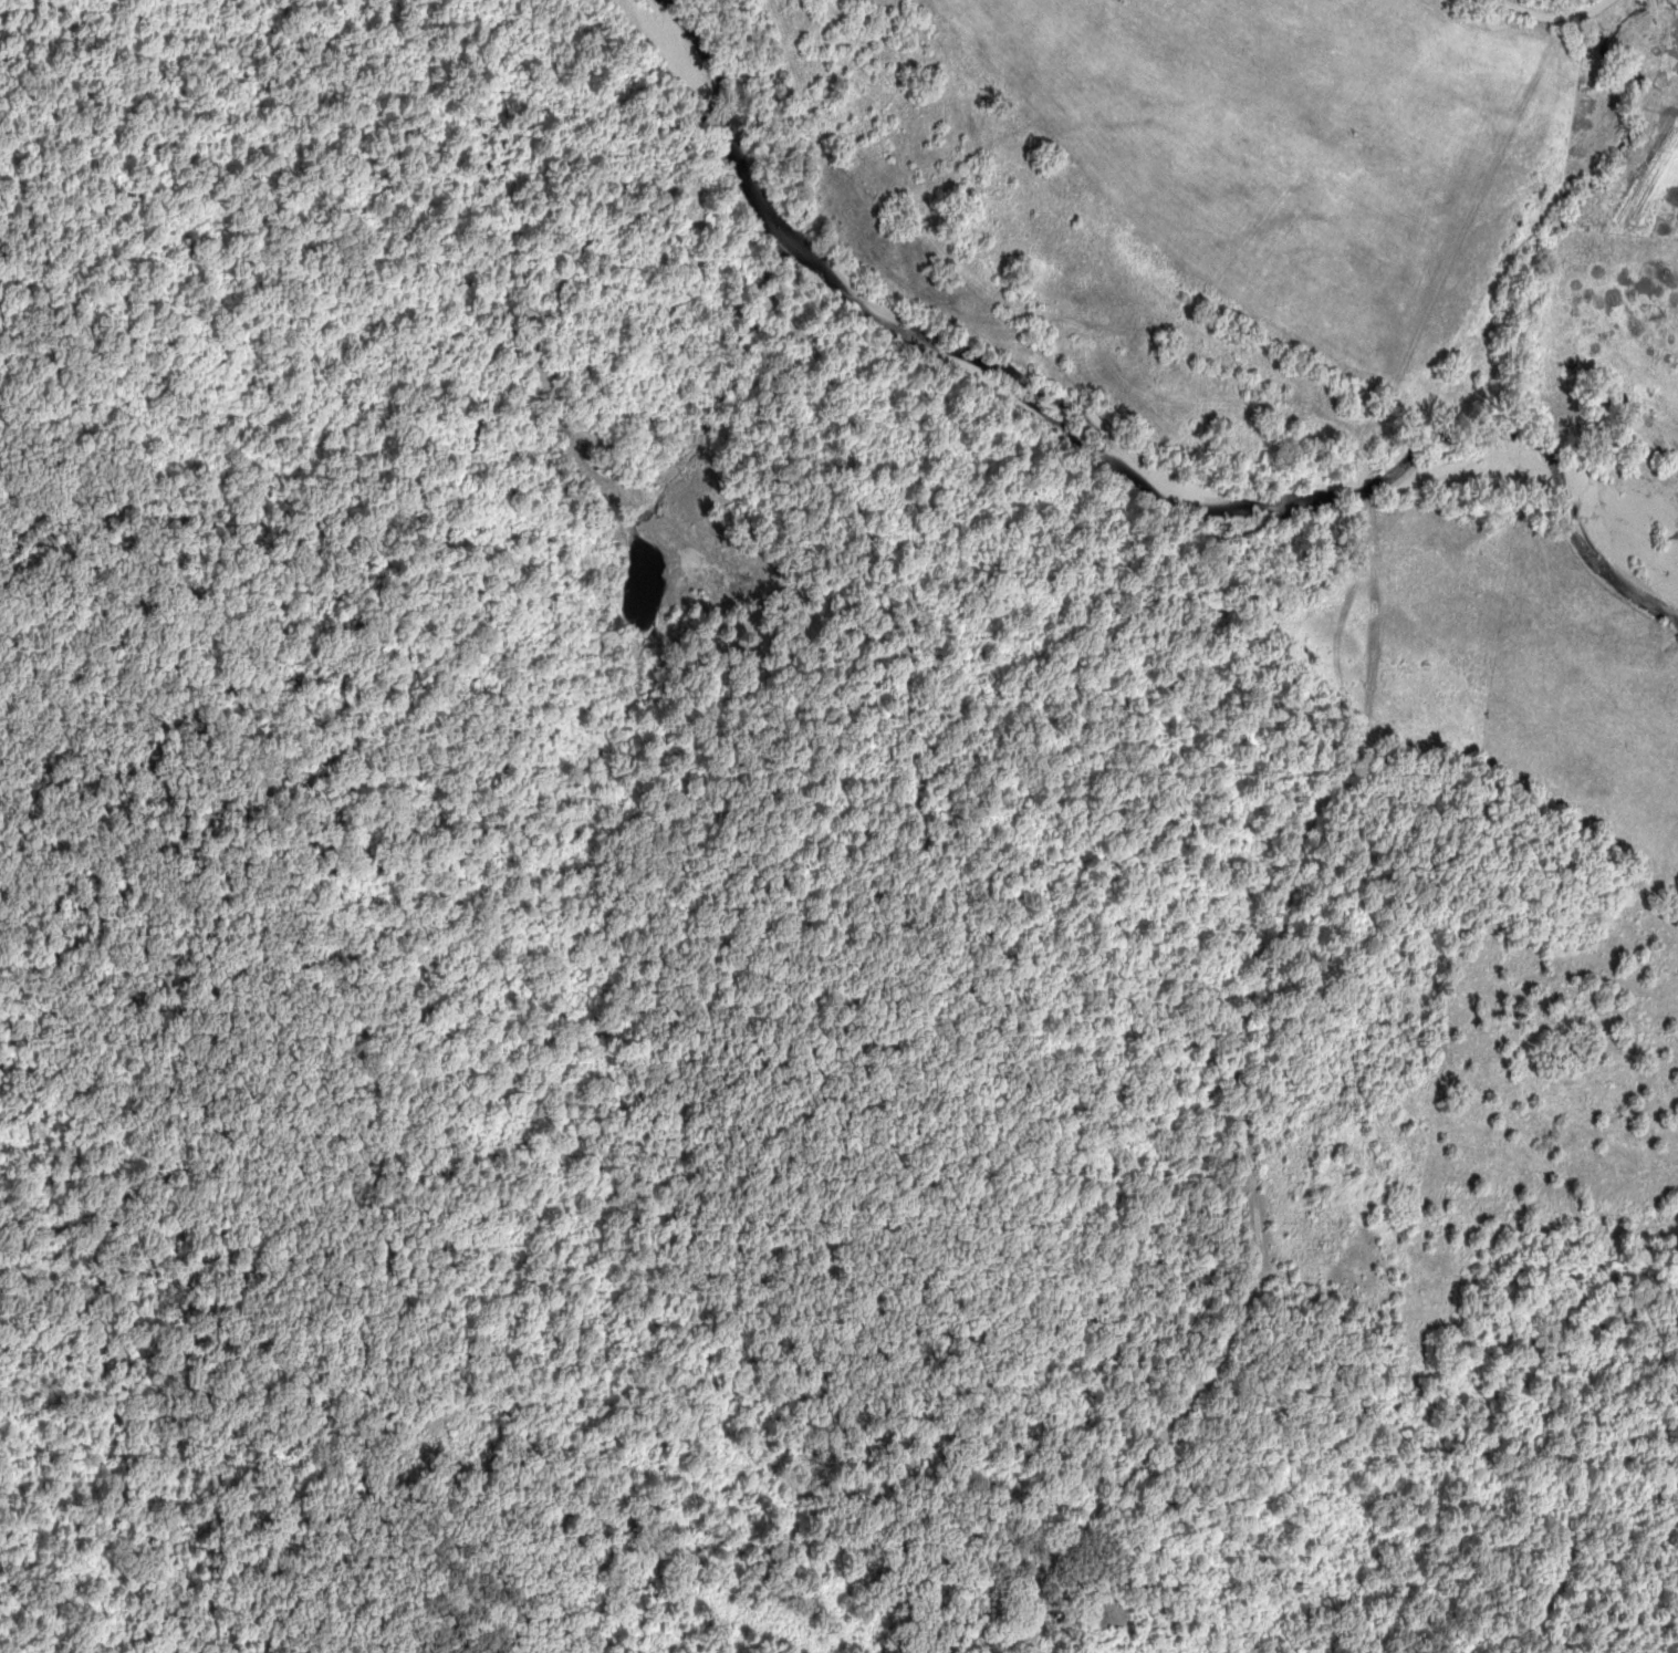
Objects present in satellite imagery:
road: (1559, 21)

